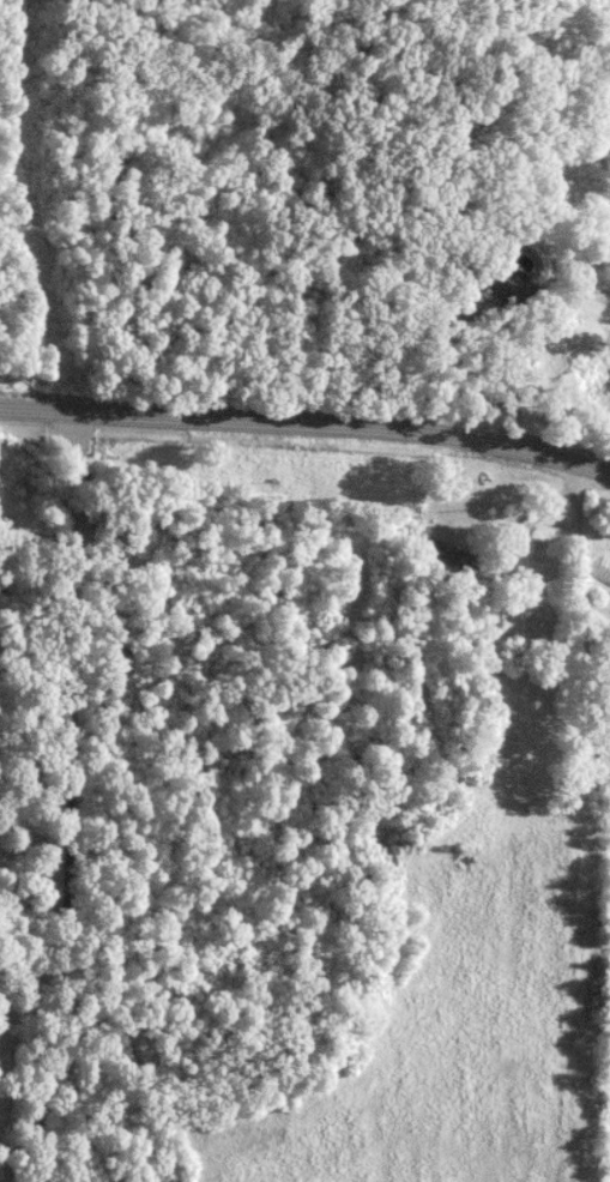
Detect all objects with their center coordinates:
building: (489, 279)
road: (490, 373)
road: (309, 398)
road: (568, 523)
building: (445, 560)
road: (585, 601)
road: (573, 629)
road: (206, 748)

